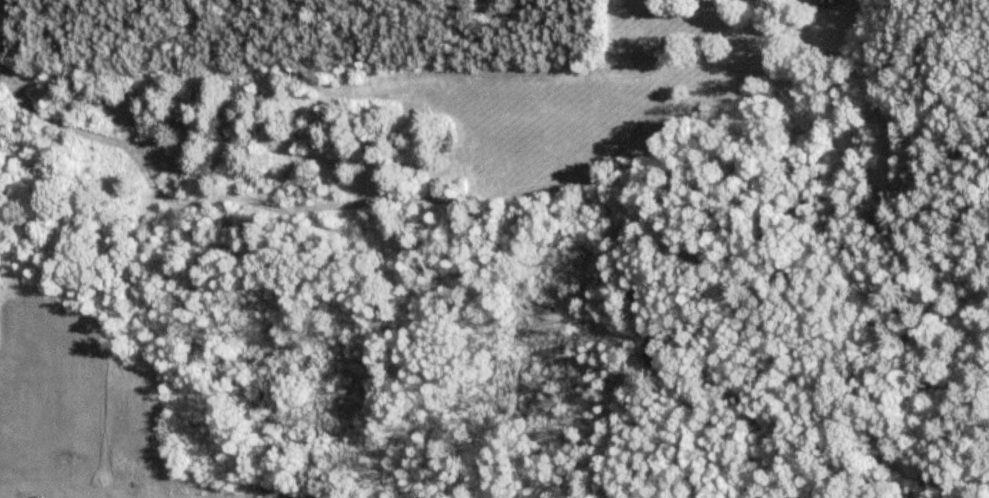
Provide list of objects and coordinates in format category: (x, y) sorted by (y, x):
building: (809, 2)

